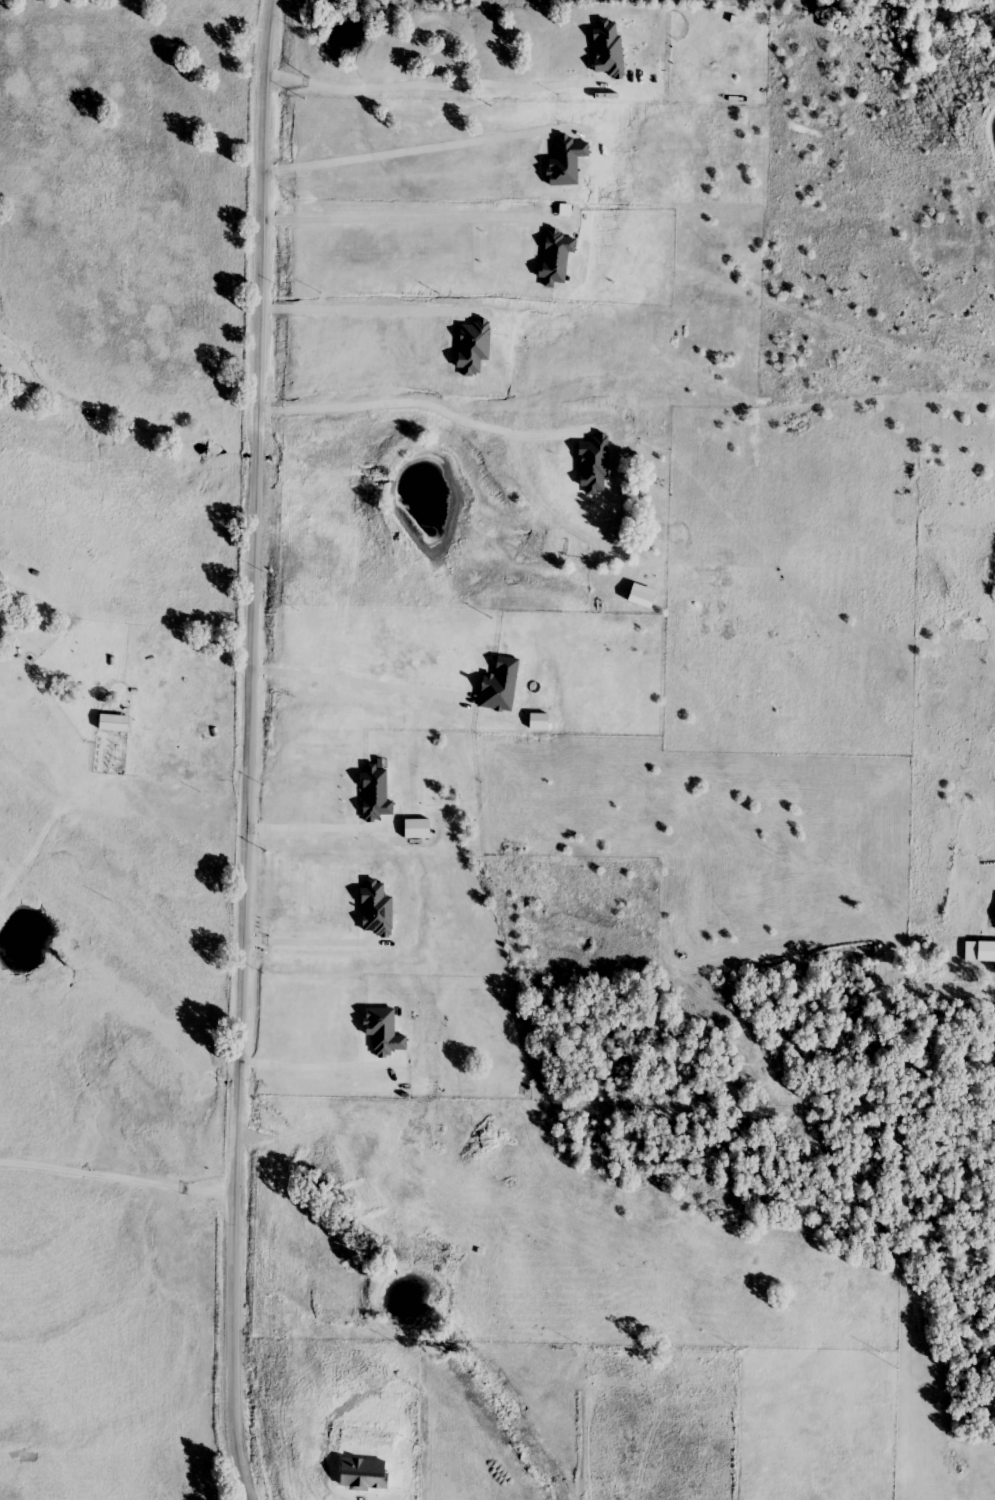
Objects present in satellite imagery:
road: (420, 88)
road: (421, 151)
road: (402, 219)
road: (353, 313)
road: (420, 403)
road: (348, 681)
building: (114, 723)
road: (243, 750)
road: (304, 827)
road: (302, 942)
road: (301, 1067)
road: (116, 1179)

